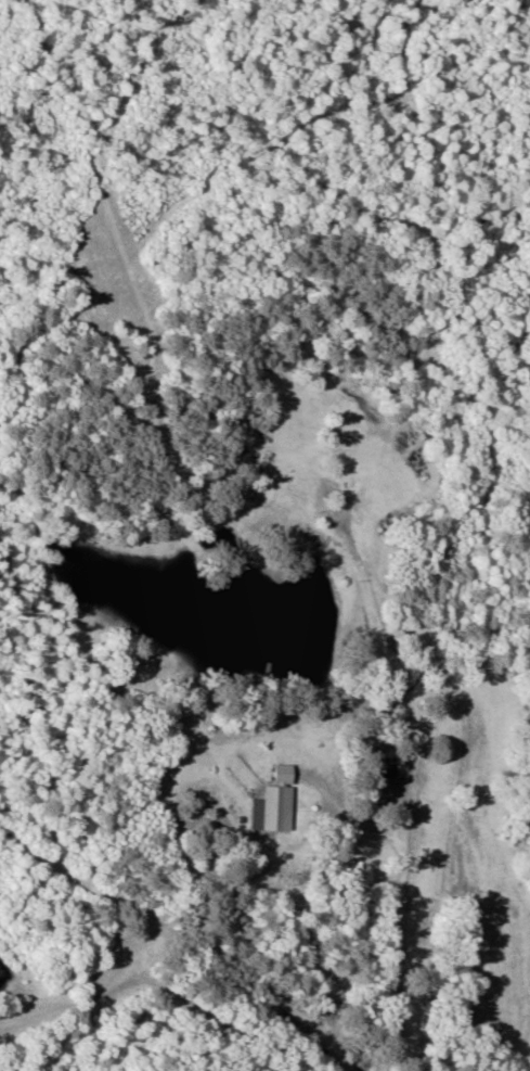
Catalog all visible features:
road: (145, 308)
road: (67, 317)
road: (476, 330)
dam: (351, 612)
road: (393, 678)
road: (48, 799)
building: (282, 799)
road: (336, 813)
road: (396, 954)
road: (152, 983)

